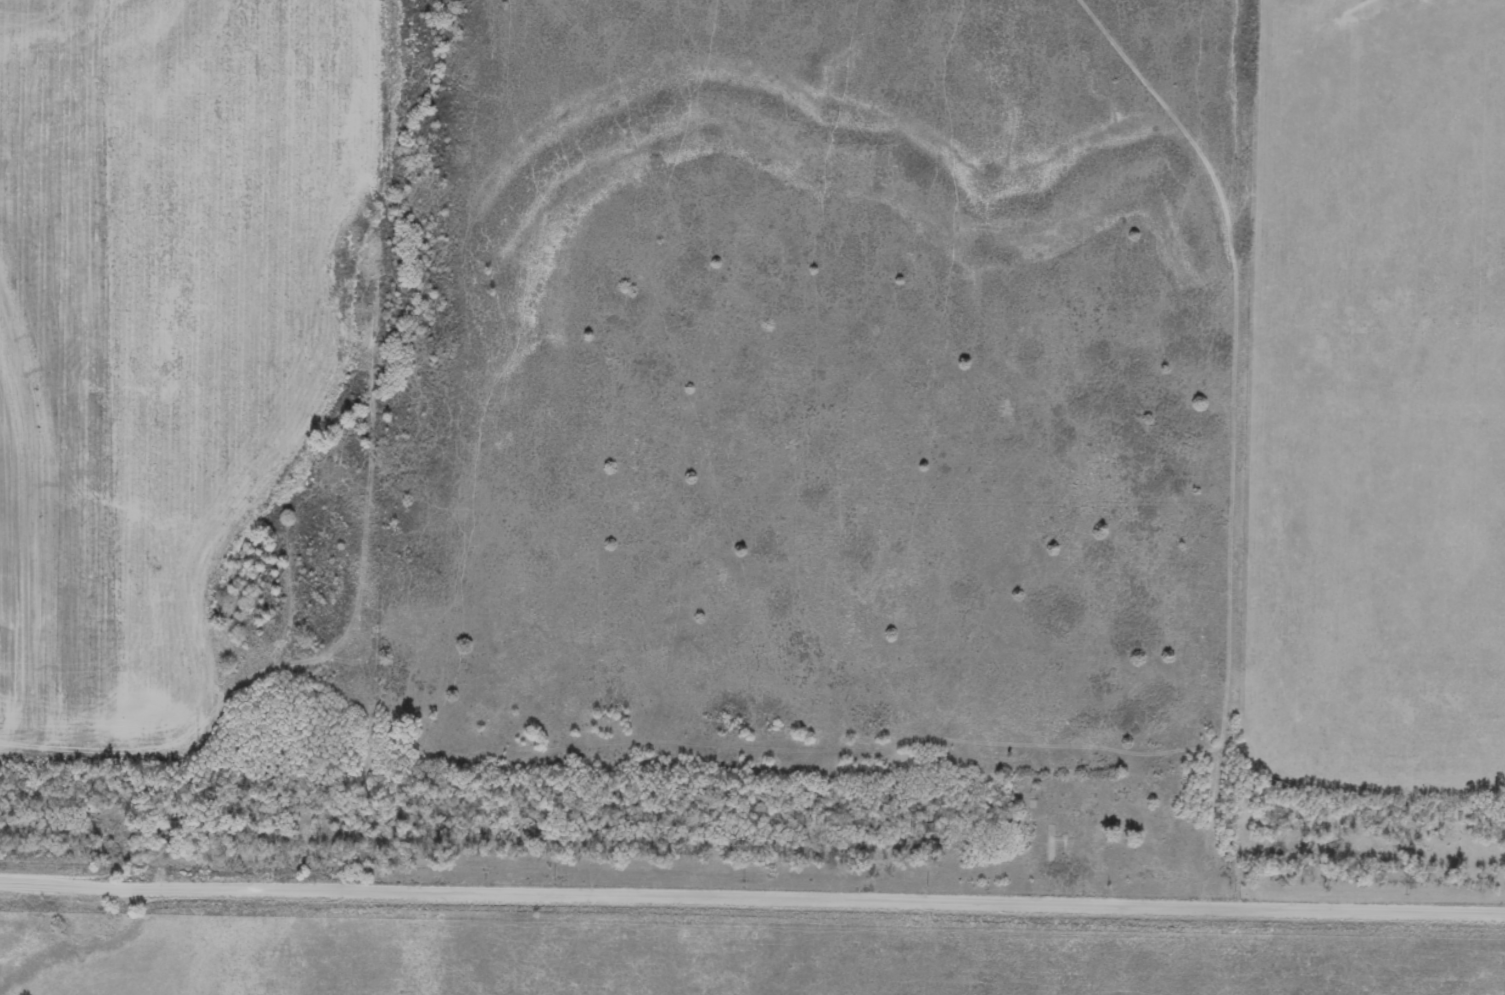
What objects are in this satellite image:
road: (98, 50)
road: (1233, 451)
road: (752, 893)

